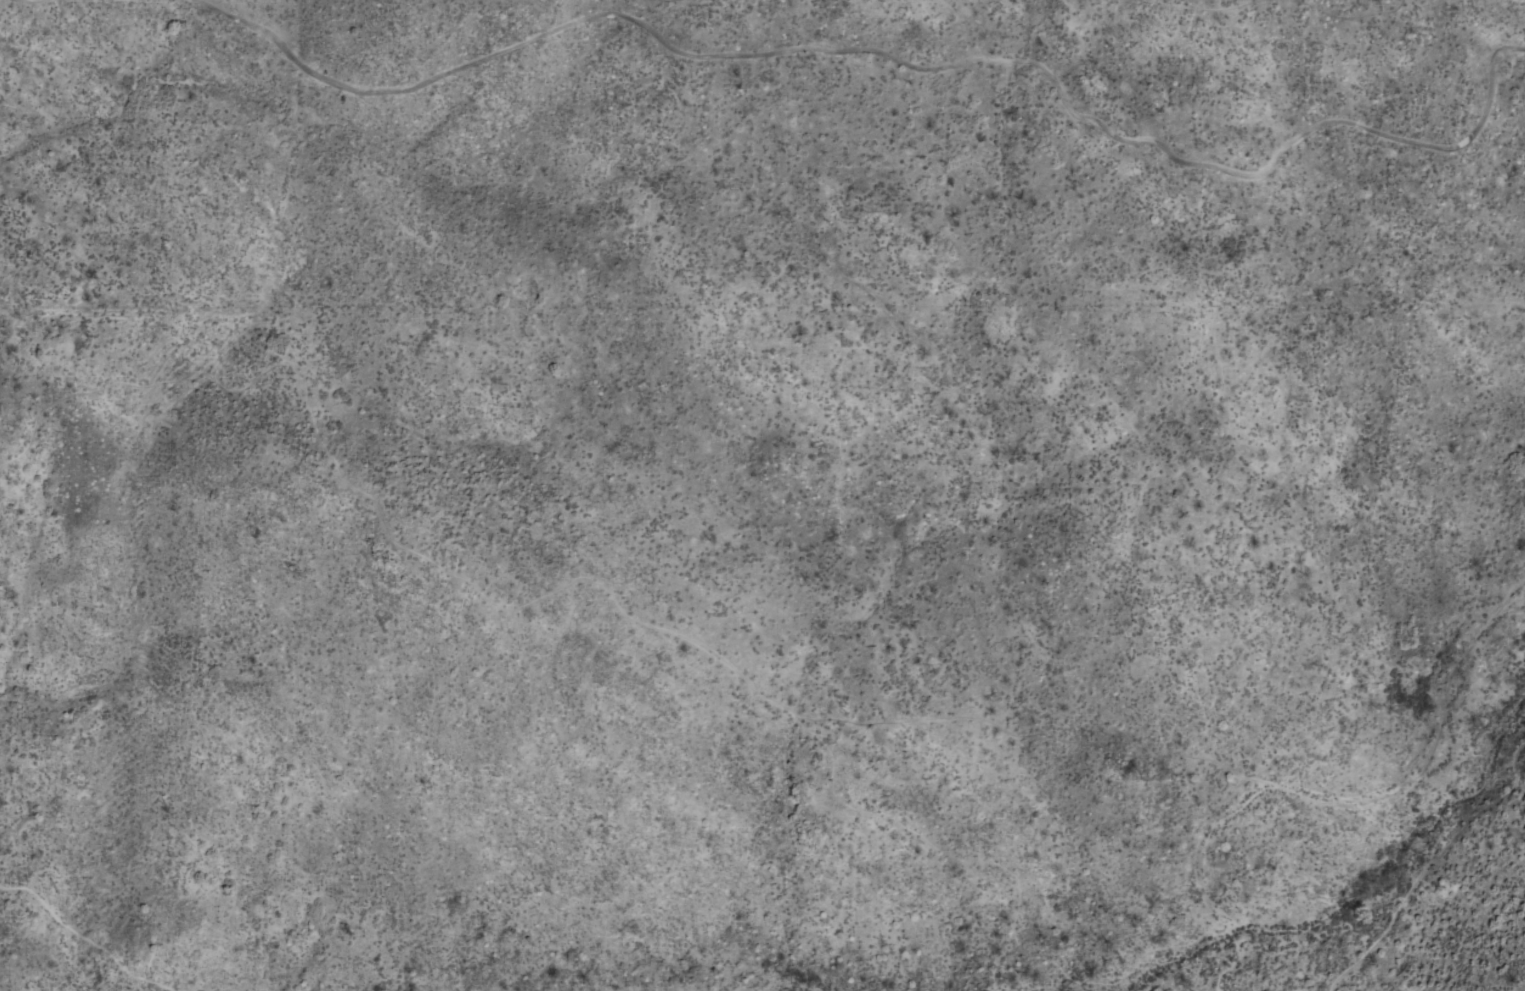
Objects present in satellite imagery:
road: (898, 61)
road: (1437, 864)

